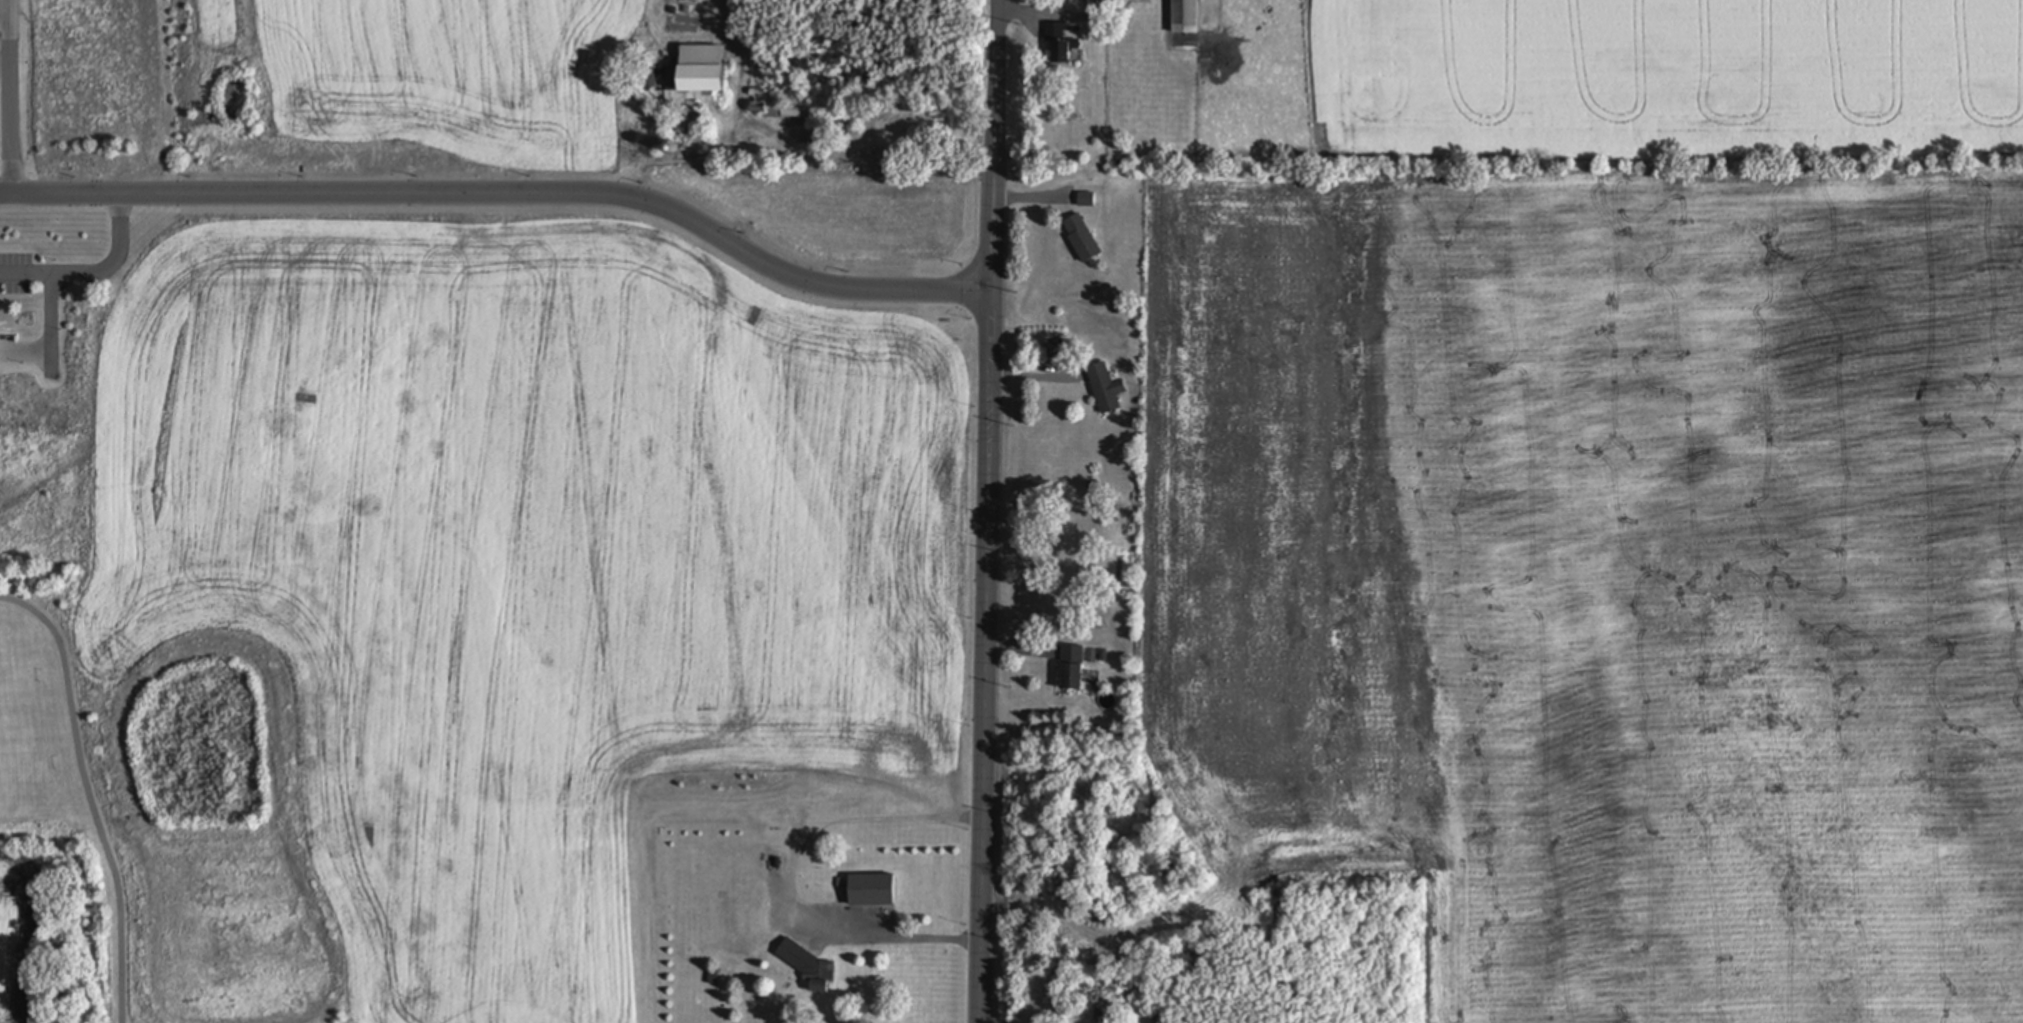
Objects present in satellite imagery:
road: (3, 11)
road: (1061, 17)
building: (1185, 17)
building: (1059, 46)
building: (696, 75)
building: (645, 81)
road: (9, 98)
building: (788, 110)
building: (898, 128)
road: (508, 195)
building: (1081, 238)
road: (93, 275)
road: (50, 318)
road: (1039, 380)
building: (1105, 389)
road: (992, 511)
building: (1073, 668)
road: (89, 794)
park: (159, 819)
road: (780, 878)
building: (872, 890)
building: (734, 915)
building: (808, 966)

